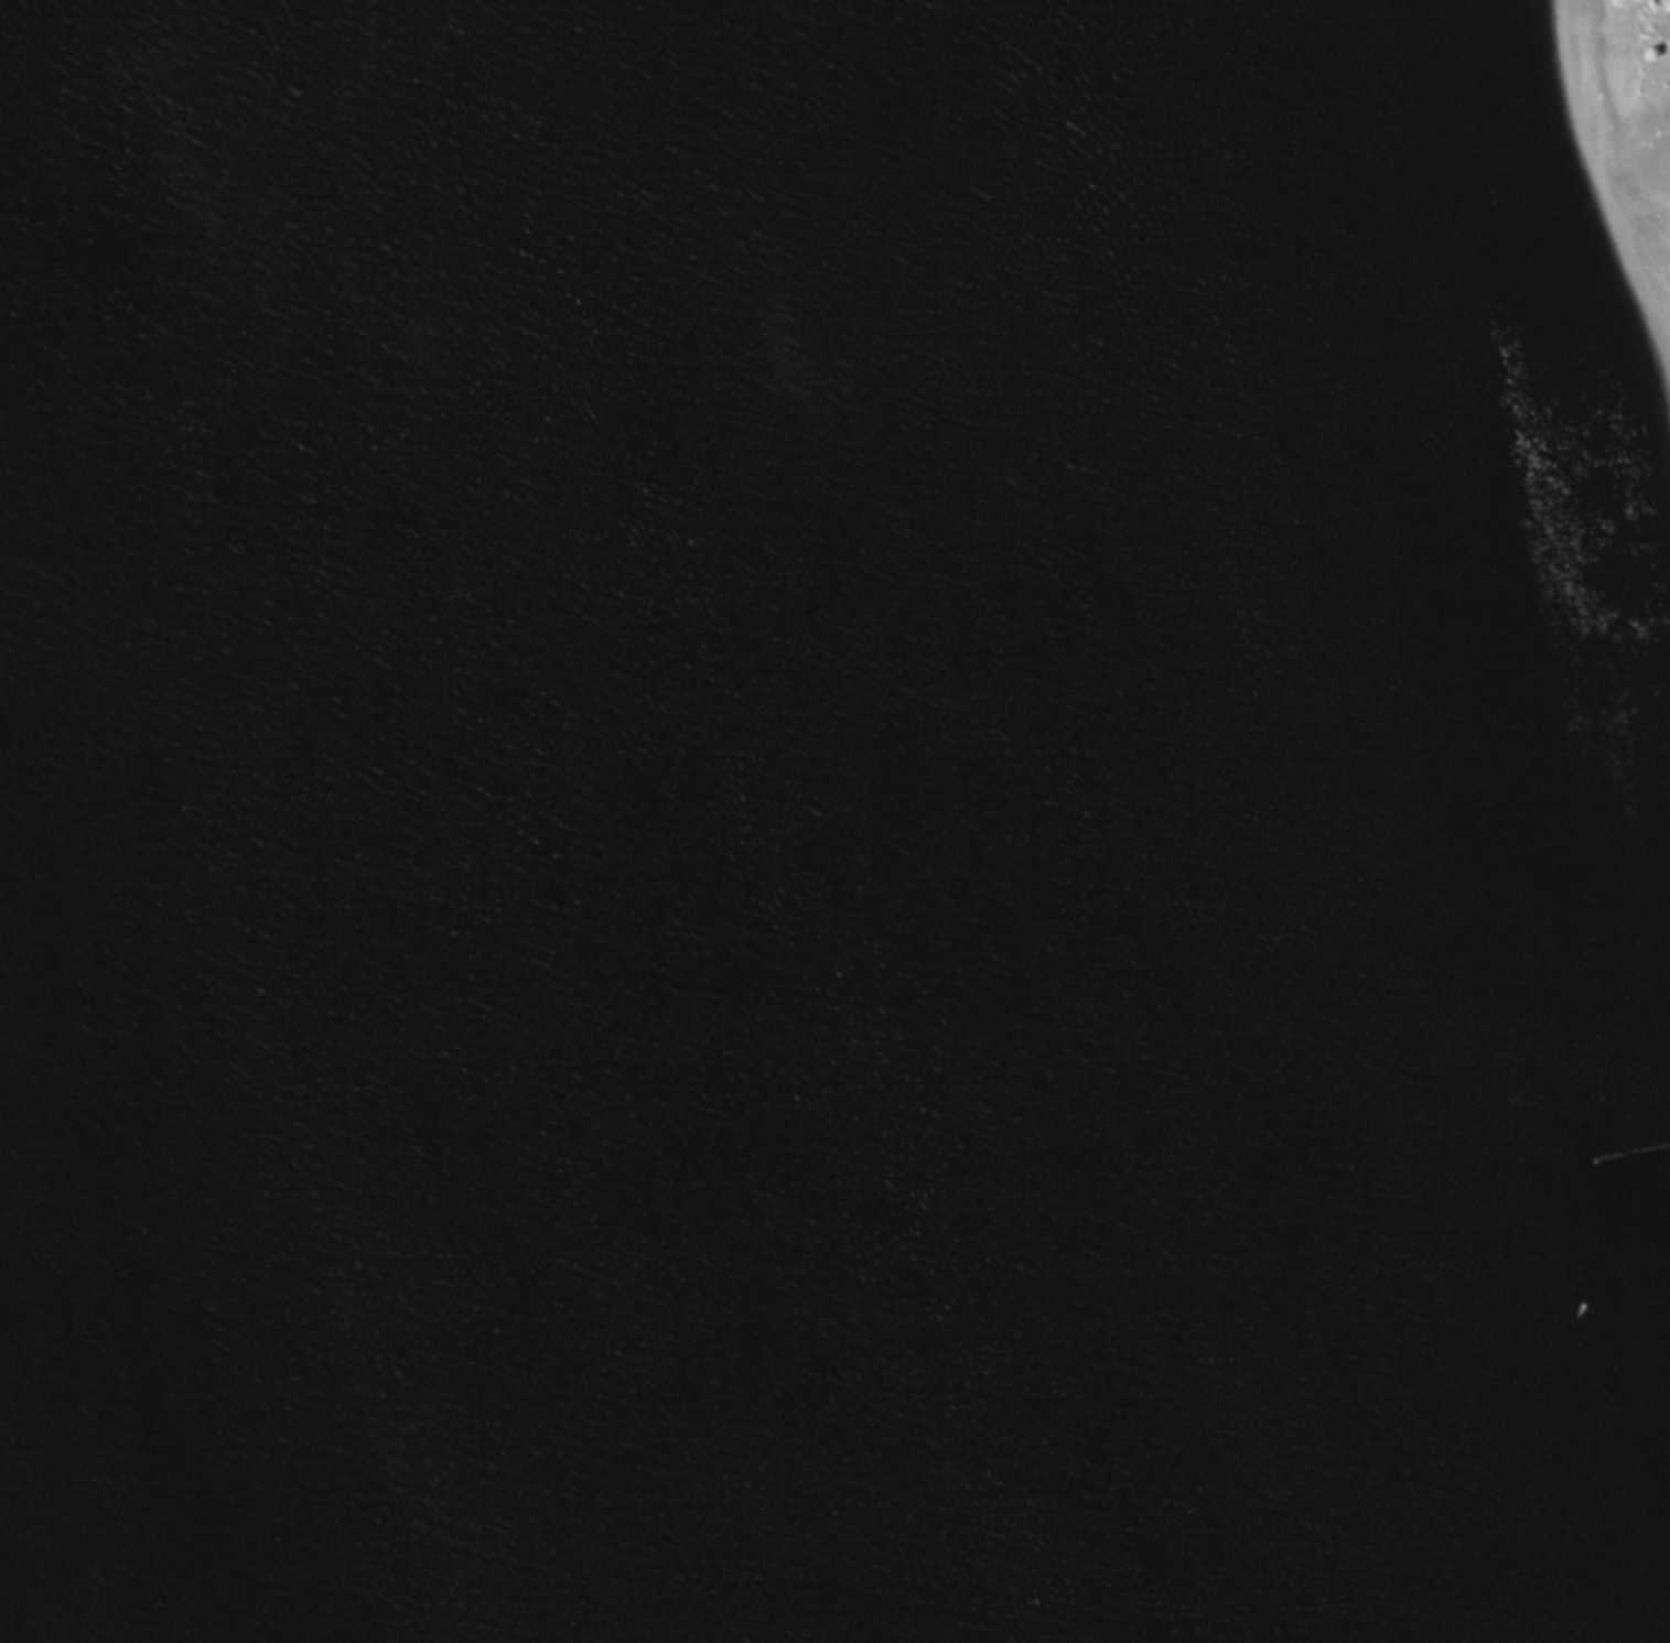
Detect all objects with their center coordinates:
river: (822, 828)

